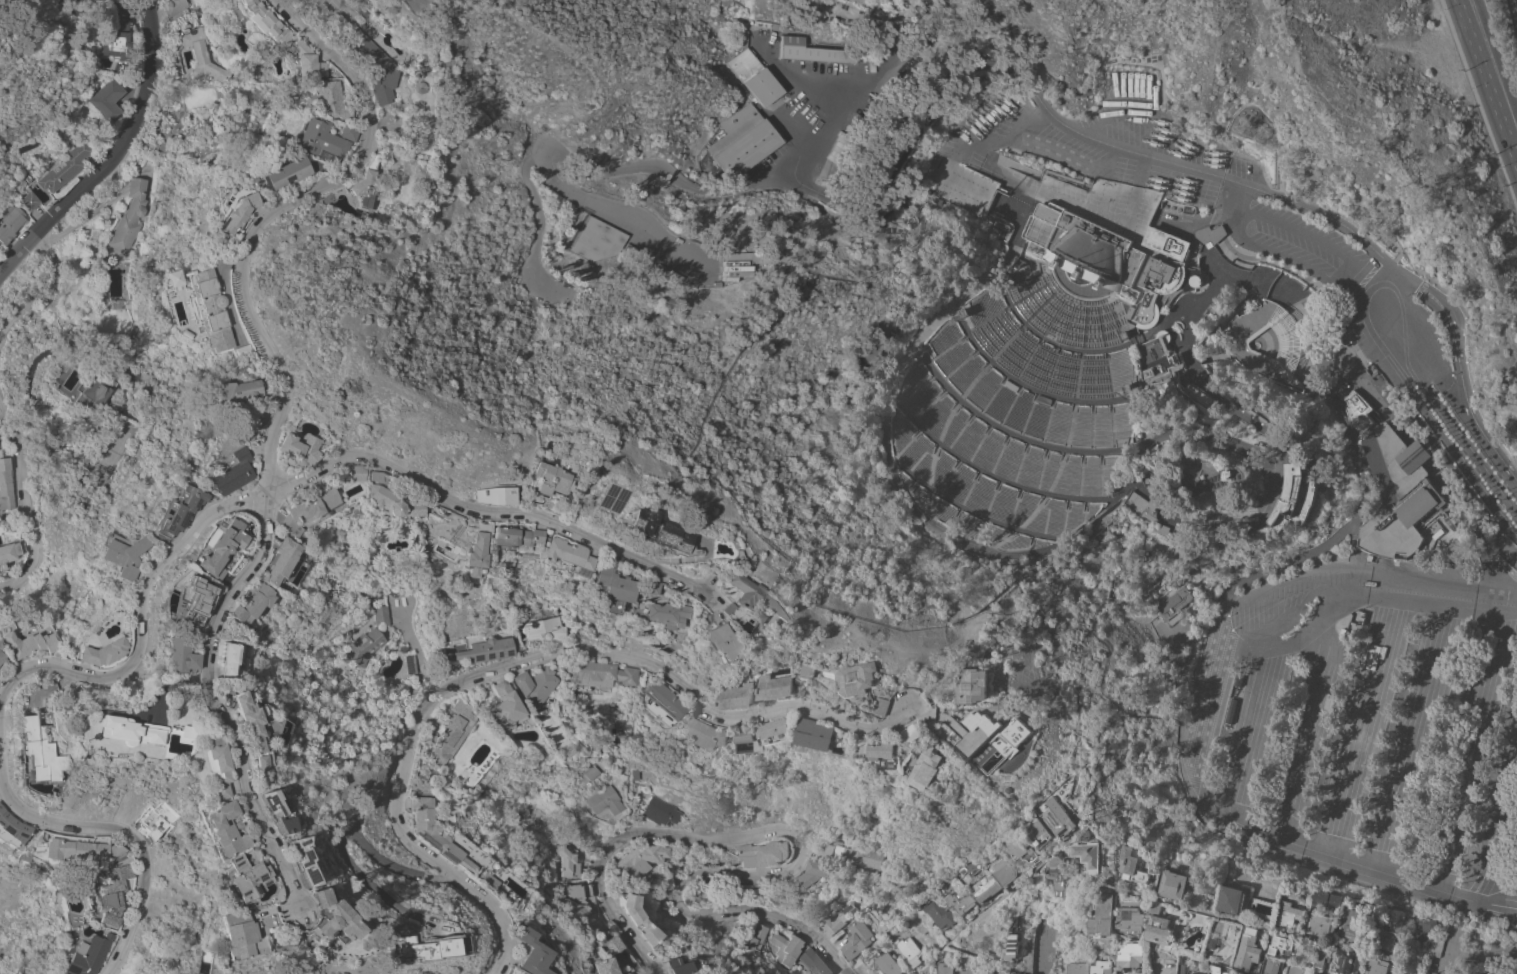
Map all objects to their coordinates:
building: (174, 6)
building: (360, 11)
building: (266, 21)
building: (765, 25)
building: (116, 33)
building: (740, 38)
road: (1379, 44)
road: (915, 48)
building: (811, 52)
building: (204, 56)
building: (307, 61)
building: (373, 65)
road: (1159, 65)
building: (754, 77)
road: (1489, 78)
road: (801, 79)
building: (418, 88)
road: (1144, 89)
building: (331, 100)
building: (108, 101)
road: (987, 118)
road: (1138, 119)
building: (348, 132)
road: (1084, 136)
building: (318, 139)
building: (843, 139)
building: (742, 142)
road: (1282, 148)
road: (114, 154)
road: (1075, 154)
road: (1415, 154)
road: (582, 165)
building: (65, 168)
building: (277, 173)
parking lot: (1133, 174)
road: (1067, 178)
road: (799, 179)
road: (952, 179)
building: (360, 188)
building: (970, 190)
road: (1056, 190)
road: (1237, 195)
building: (29, 200)
road: (1009, 206)
building: (1188, 209)
building: (232, 214)
building: (129, 217)
building: (10, 221)
building: (1363, 222)
road: (542, 225)
building: (999, 225)
road: (1309, 234)
road: (1389, 235)
building: (567, 236)
building: (597, 240)
building: (1167, 242)
building: (1224, 242)
building: (1084, 247)
road: (1291, 258)
road: (1035, 259)
flagpole: (1044, 259)
building: (738, 267)
building: (709, 271)
building: (168, 278)
building: (1008, 282)
road: (1021, 282)
road: (1512, 283)
road: (1272, 284)
building: (1153, 285)
road: (1266, 289)
road: (41, 290)
road: (1365, 292)
road: (1032, 293)
flagpole: (1119, 293)
road: (1073, 300)
building: (115, 305)
road: (1042, 307)
building: (1210, 308)
building: (202, 309)
building: (965, 310)
building: (1130, 311)
road: (1056, 317)
road: (1070, 324)
road: (1086, 327)
road: (1101, 327)
road: (1119, 327)
building: (135, 330)
building: (180, 334)
building: (1124, 334)
building: (870, 346)
building: (1227, 346)
road: (1083, 349)
building: (233, 351)
building: (1151, 355)
road: (1192, 358)
building: (1177, 359)
road: (266, 371)
road: (1026, 385)
road: (1212, 387)
building: (1383, 387)
building: (1129, 388)
building: (1308, 388)
building: (88, 390)
building: (223, 395)
building: (1202, 398)
road: (889, 408)
building: (1358, 411)
building: (1147, 431)
road: (1285, 431)
building: (284, 448)
road: (1084, 450)
road: (932, 454)
building: (343, 472)
building: (218, 473)
road: (991, 473)
building: (533, 480)
road: (1364, 483)
building: (3, 485)
road: (1147, 490)
building: (975, 492)
building: (1396, 493)
building: (482, 495)
building: (1298, 496)
building: (377, 499)
road: (22, 502)
building: (1144, 506)
building: (169, 507)
building: (294, 507)
road: (1046, 508)
building: (539, 509)
road: (974, 511)
road: (467, 514)
building: (1450, 523)
building: (1167, 528)
building: (649, 532)
building: (368, 534)
building: (507, 538)
building: (205, 548)
building: (6, 551)
building: (465, 554)
building: (109, 556)
building: (559, 556)
building: (267, 560)
road: (1353, 561)
building: (501, 578)
building: (605, 588)
building: (642, 588)
building: (181, 595)
building: (748, 603)
building: (236, 604)
building: (1176, 604)
building: (716, 609)
building: (661, 614)
building: (377, 615)
road: (1239, 620)
building: (542, 629)
road: (1303, 633)
building: (21, 644)
building: (715, 648)
building: (358, 650)
building: (484, 650)
building: (88, 652)
building: (161, 656)
building: (210, 658)
road: (525, 660)
building: (407, 664)
building: (818, 669)
road: (421, 672)
building: (594, 675)
building: (866, 678)
building: (533, 685)
building: (979, 685)
building: (785, 686)
building: (744, 696)
building: (661, 700)
building: (890, 705)
road: (192, 706)
building: (504, 707)
building: (950, 714)
road: (1217, 719)
road: (1363, 726)
parking lot: (1362, 729)
building: (779, 730)
building: (969, 730)
building: (109, 731)
building: (708, 731)
road: (1310, 731)
building: (165, 732)
building: (449, 732)
building: (919, 732)
building: (237, 733)
building: (824, 733)
road: (1242, 735)
road: (1411, 737)
building: (748, 742)
road: (1470, 750)
building: (22, 751)
building: (889, 751)
building: (637, 760)
building: (197, 767)
building: (931, 767)
building: (637, 770)
building: (588, 773)
building: (419, 786)
building: (603, 801)
building: (259, 812)
building: (659, 812)
building: (1058, 817)
building: (566, 821)
building: (138, 825)
building: (206, 828)
building: (7, 831)
building: (430, 831)
road: (1501, 831)
building: (1038, 832)
road: (339, 835)
road: (129, 845)
road: (798, 848)
building: (1019, 849)
building: (69, 850)
building: (761, 853)
building: (850, 853)
building: (1087, 854)
building: (286, 860)
road: (1346, 860)
building: (637, 861)
building: (565, 862)
building: (217, 863)
building: (1132, 864)
building: (970, 867)
building: (1003, 869)
building: (1057, 871)
building: (931, 875)
building: (811, 876)
building: (1109, 879)
building: (479, 880)
building: (1034, 880)
building: (230, 881)
building: (1174, 884)
building: (986, 887)
building: (104, 894)
building: (256, 894)
building: (576, 894)
building: (1232, 899)
building: (1328, 899)
building: (963, 902)
road: (1503, 903)
road: (990, 908)
building: (939, 913)
building: (1289, 913)
road: (1216, 914)
building: (1104, 915)
building: (314, 918)
building: (820, 918)
building: (636, 919)
building: (1131, 920)
building: (1320, 924)
building: (1160, 925)
building: (1353, 926)
building: (1425, 928)
building: (220, 936)
building: (754, 936)
building: (856, 938)
building: (1386, 939)
building: (1212, 940)
building: (1012, 943)
building: (605, 945)
building: (1282, 946)
building: (1435, 946)
building: (405, 948)
building: (785, 948)
park: (1493, 948)
road: (1044, 949)
building: (1247, 949)
building: (909, 950)
building: (517, 951)
road: (1493, 954)
building: (79, 955)
building: (1130, 955)
road: (1452, 956)
road: (989, 958)
building: (1321, 960)
building: (812, 963)
building: (1347, 963)
building: (888, 964)
building: (1181, 965)
building: (595, 966)
building: (669, 966)
building: (1272, 966)
building: (1378, 966)
building: (1103, 967)
building: (944, 968)
building: (1076, 968)
building: (924, 970)
building: (968, 970)
building: (1217, 970)
building: (1298, 970)
building: (1425, 971)
building: (867, 972)
building: (179, 973)
building: (503, 973)
building: (1199, 973)

